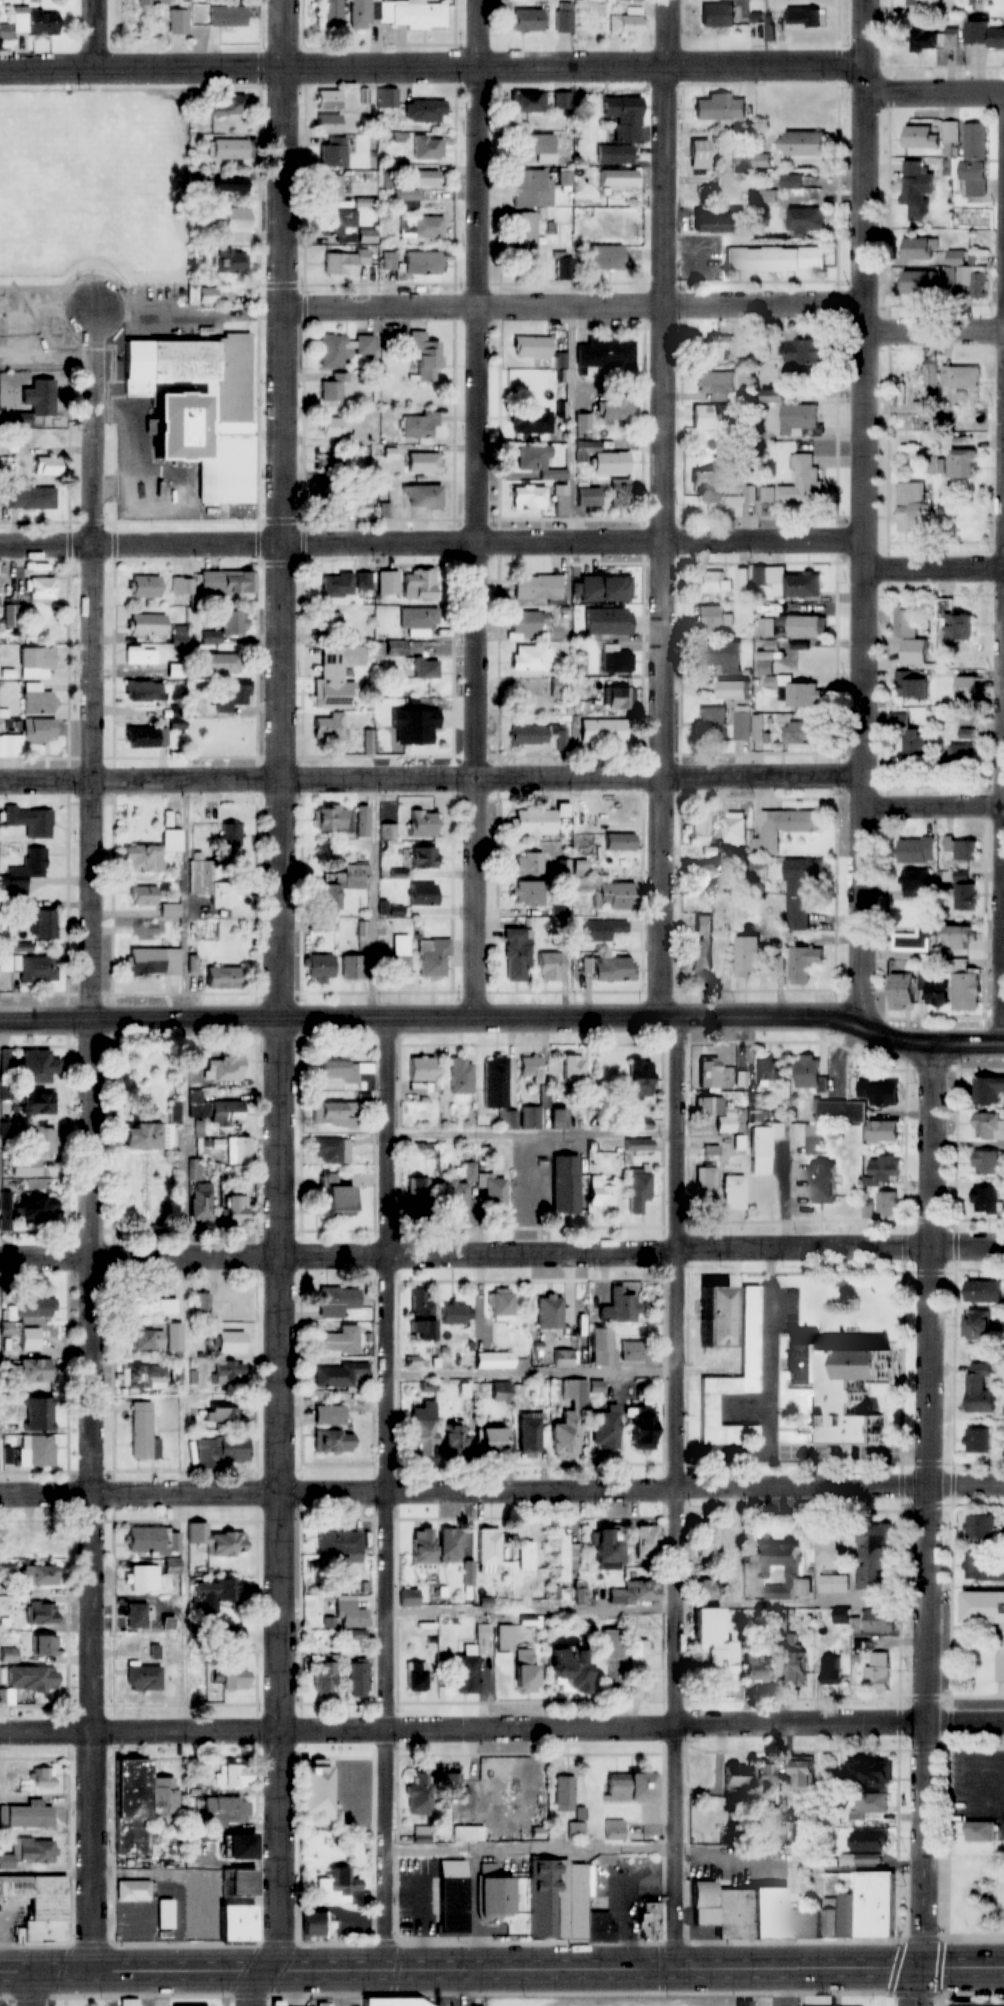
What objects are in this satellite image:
building: (626, 1)
building: (153, 2)
building: (917, 2)
building: (331, 14)
building: (359, 14)
building: (410, 14)
building: (717, 15)
building: (227, 16)
building: (803, 18)
building: (525, 20)
building: (178, 21)
building: (34, 22)
building: (563, 22)
building: (627, 24)
road: (863, 31)
road: (96, 34)
building: (983, 35)
building: (953, 39)
building: (923, 41)
road: (431, 66)
road: (933, 95)
building: (388, 97)
building: (326, 100)
building: (540, 102)
building: (227, 105)
building: (719, 107)
building: (425, 111)
building: (622, 117)
building: (327, 124)
building: (951, 133)
building: (919, 138)
building: (801, 144)
building: (538, 147)
building: (428, 148)
building: (228, 149)
road: (665, 152)
building: (332, 153)
building: (698, 155)
building: (973, 160)
building: (426, 178)
building: (617, 179)
building: (231, 186)
building: (916, 186)
building: (331, 188)
building: (530, 188)
building: (772, 198)
building: (806, 221)
building: (337, 222)
building: (718, 222)
building: (233, 224)
building: (422, 228)
building: (366, 236)
building: (525, 238)
building: (919, 249)
building: (604, 257)
building: (774, 259)
building: (344, 263)
building: (422, 263)
building: (233, 264)
building: (565, 267)
building: (953, 268)
building: (979, 284)
building: (202, 296)
road: (574, 304)
road: (935, 332)
building: (342, 347)
building: (531, 347)
building: (716, 347)
building: (605, 352)
road: (663, 353)
building: (803, 353)
building: (425, 358)
building: (931, 376)
building: (960, 377)
building: (715, 382)
building: (332, 388)
building: (40, 400)
building: (613, 407)
building: (197, 408)
building: (713, 416)
building: (800, 420)
building: (531, 422)
building: (418, 424)
building: (330, 427)
building: (601, 457)
road: (663, 460)
building: (422, 462)
building: (539, 462)
building: (386, 463)
building: (328, 464)
building: (962, 464)
building: (45, 466)
building: (797, 484)
building: (708, 487)
building: (620, 493)
building: (31, 497)
building: (424, 497)
building: (527, 497)
building: (338, 498)
building: (587, 498)
building: (561, 502)
building: (913, 506)
road: (480, 509)
road: (865, 541)
road: (432, 543)
road: (934, 566)
building: (363, 581)
building: (742, 581)
building: (709, 583)
building: (788, 583)
building: (226, 584)
building: (406, 584)
building: (337, 585)
building: (183, 586)
building: (144, 587)
building: (39, 588)
building: (537, 588)
building: (600, 589)
building: (10, 615)
building: (418, 619)
building: (606, 621)
building: (710, 621)
building: (331, 623)
building: (524, 623)
building: (955, 623)
building: (146, 625)
building: (801, 626)
building: (226, 628)
building: (909, 636)
building: (716, 654)
building: (140, 657)
building: (530, 659)
building: (616, 660)
building: (35, 663)
building: (218, 664)
building: (426, 668)
building: (764, 668)
building: (335, 676)
building: (911, 687)
building: (732, 691)
building: (144, 692)
building: (232, 695)
building: (802, 696)
building: (619, 698)
building: (36, 700)
building: (710, 725)
building: (748, 725)
building: (409, 726)
building: (330, 728)
building: (603, 732)
building: (801, 734)
building: (538, 735)
building: (27, 737)
building: (146, 738)
building: (915, 747)
building: (962, 756)
road: (662, 767)
road: (430, 780)
road: (932, 804)
building: (169, 819)
building: (330, 819)
building: (604, 819)
building: (32, 821)
building: (363, 822)
building: (532, 823)
building: (421, 824)
building: (784, 828)
building: (700, 830)
building: (735, 830)
building: (388, 832)
building: (231, 838)
building: (619, 842)
building: (963, 849)
building: (916, 851)
building: (150, 855)
building: (423, 859)
building: (527, 863)
building: (604, 865)
building: (25, 871)
building: (708, 874)
building: (208, 882)
building: (914, 884)
building: (338, 886)
building: (801, 891)
building: (526, 893)
building: (143, 895)
building: (422, 895)
building: (612, 896)
building: (966, 898)
building: (170, 911)
building: (45, 924)
building: (148, 930)
building: (602, 930)
building: (957, 938)
building: (914, 942)
building: (700, 948)
building: (433, 957)
building: (748, 957)
building: (398, 960)
building: (516, 961)
building: (152, 962)
building: (804, 964)
building: (549, 966)
building: (31, 968)
building: (319, 968)
building: (350, 968)
building: (609, 968)
building: (223, 978)
road: (283, 984)
building: (935, 990)
building: (966, 991)
building: (901, 992)
road: (504, 1018)
building: (37, 1066)
building: (224, 1068)
building: (530, 1068)
building: (572, 1069)
building: (346, 1072)
building: (707, 1074)
building: (810, 1074)
building: (420, 1075)
building: (768, 1075)
building: (460, 1076)
building: (639, 1078)
building: (740, 1080)
building: (495, 1083)
building: (988, 1090)
building: (880, 1093)
building: (35, 1103)
building: (598, 1103)
building: (196, 1104)
building: (842, 1112)
building: (224, 1113)
building: (557, 1113)
building: (718, 1114)
building: (334, 1115)
building: (529, 1118)
building: (507, 1120)
building: (989, 1127)
building: (150, 1132)
building: (884, 1132)
road: (532, 1135)
road: (91, 1137)
building: (40, 1140)
building: (814, 1142)
building: (762, 1148)
building: (740, 1149)
building: (238, 1151)
building: (332, 1151)
building: (986, 1163)
building: (885, 1168)
building: (822, 1181)
building: (565, 1184)
building: (733, 1186)
building: (457, 1189)
building: (706, 1189)
building: (638, 1190)
building: (538, 1191)
building: (599, 1191)
building: (490, 1192)
building: (417, 1196)
building: (335, 1197)
building: (987, 1199)
building: (202, 1202)
building: (888, 1202)
building: (235, 1208)
building: (869, 1208)
building: (24, 1210)
road: (695, 1248)
road: (194, 1257)
building: (984, 1290)
building: (335, 1301)
building: (149, 1304)
building: (202, 1305)
building: (501, 1305)
building: (621, 1306)
building: (34, 1307)
parking lot: (787, 1308)
building: (549, 1311)
building: (455, 1314)
building: (420, 1315)
building: (716, 1315)
building: (978, 1323)
building: (157, 1338)
building: (29, 1339)
building: (338, 1340)
building: (228, 1342)
building: (600, 1347)
building: (635, 1351)
building: (562, 1358)
building: (493, 1360)
building: (33, 1369)
road: (678, 1370)
building: (228, 1373)
road: (533, 1373)
building: (342, 1375)
building: (143, 1376)
building: (734, 1377)
road: (772, 1382)
building: (981, 1388)
building: (495, 1391)
building: (846, 1393)
road: (748, 1407)
building: (220, 1412)
building: (35, 1413)
building: (573, 1413)
building: (328, 1415)
building: (639, 1427)
building: (605, 1429)
building: (420, 1430)
building: (143, 1432)
building: (529, 1436)
building: (978, 1439)
building: (450, 1440)
building: (332, 1441)
building: (486, 1441)
building: (34, 1450)
building: (221, 1451)
road: (740, 1451)
road: (847, 1452)
road: (895, 1452)
road: (502, 1489)
road: (388, 1494)
road: (928, 1525)
building: (980, 1525)
building: (148, 1540)
building: (707, 1540)
building: (730, 1540)
building: (218, 1542)
building: (646, 1542)
building: (339, 1544)
building: (450, 1545)
building: (605, 1548)
building: (422, 1550)
building: (488, 1550)
building: (828, 1553)
building: (526, 1556)
building: (877, 1557)
building: (567, 1558)
building: (985, 1565)
building: (171, 1566)
building: (764, 1572)
building: (37, 1575)
building: (145, 1578)
building: (834, 1584)
building: (705, 1590)
building: (641, 1591)
building: (580, 1593)
building: (215, 1597)
building: (617, 1597)
building: (408, 1598)
road: (658, 1609)
building: (41, 1613)
building: (351, 1615)
building: (136, 1616)
building: (987, 1617)
building: (881, 1619)
building: (707, 1620)
building: (784, 1622)
building: (858, 1624)
road: (962, 1629)
building: (610, 1645)
building: (44, 1646)
building: (152, 1652)
building: (638, 1656)
building: (518, 1660)
building: (472, 1661)
building: (712, 1663)
building: (794, 1665)
building: (757, 1668)
building: (563, 1669)
building: (833, 1671)
building: (234, 1673)
building: (878, 1673)
building: (416, 1676)
building: (143, 1678)
building: (322, 1678)
building: (30, 1679)
building: (357, 1679)
road: (1000, 1703)
road: (502, 1728)
building: (802, 1772)
building: (868, 1773)
building: (733, 1775)
building: (232, 1776)
building: (764, 1776)
road: (981, 1776)
building: (41, 1777)
building: (452, 1782)
building: (628, 1787)
parking lot: (979, 1788)
building: (316, 1794)
building: (416, 1794)
building: (565, 1794)
building: (164, 1798)
building: (869, 1805)
building: (130, 1807)
building: (224, 1813)
building: (26, 1815)
building: (614, 1830)
building: (788, 1831)
building: (981, 1831)
building: (468, 1834)
building: (421, 1835)
building: (870, 1840)
building: (237, 1847)
road: (676, 1847)
road: (531, 1849)
building: (28, 1852)
building: (849, 1858)
road: (46, 1873)
building: (237, 1883)
building: (339, 1888)
building: (134, 1890)
building: (494, 1894)
building: (451, 1897)
building: (875, 1903)
building: (564, 1904)
building: (39, 1905)
building: (719, 1907)
building: (767, 1912)
building: (164, 1914)
building: (848, 1914)
building: (831, 1916)
building: (649, 1920)
building: (805, 1922)
building: (234, 1923)
building: (316, 1924)
road: (502, 1969)
traffic signals: (917, 1970)
road: (34, 1987)
road: (147, 1987)
road: (253, 1987)
road: (796, 1988)
parking lot: (790, 2001)
building: (130, 2002)
building: (391, 2002)
track: (634, 2002)
building: (978, 2004)

